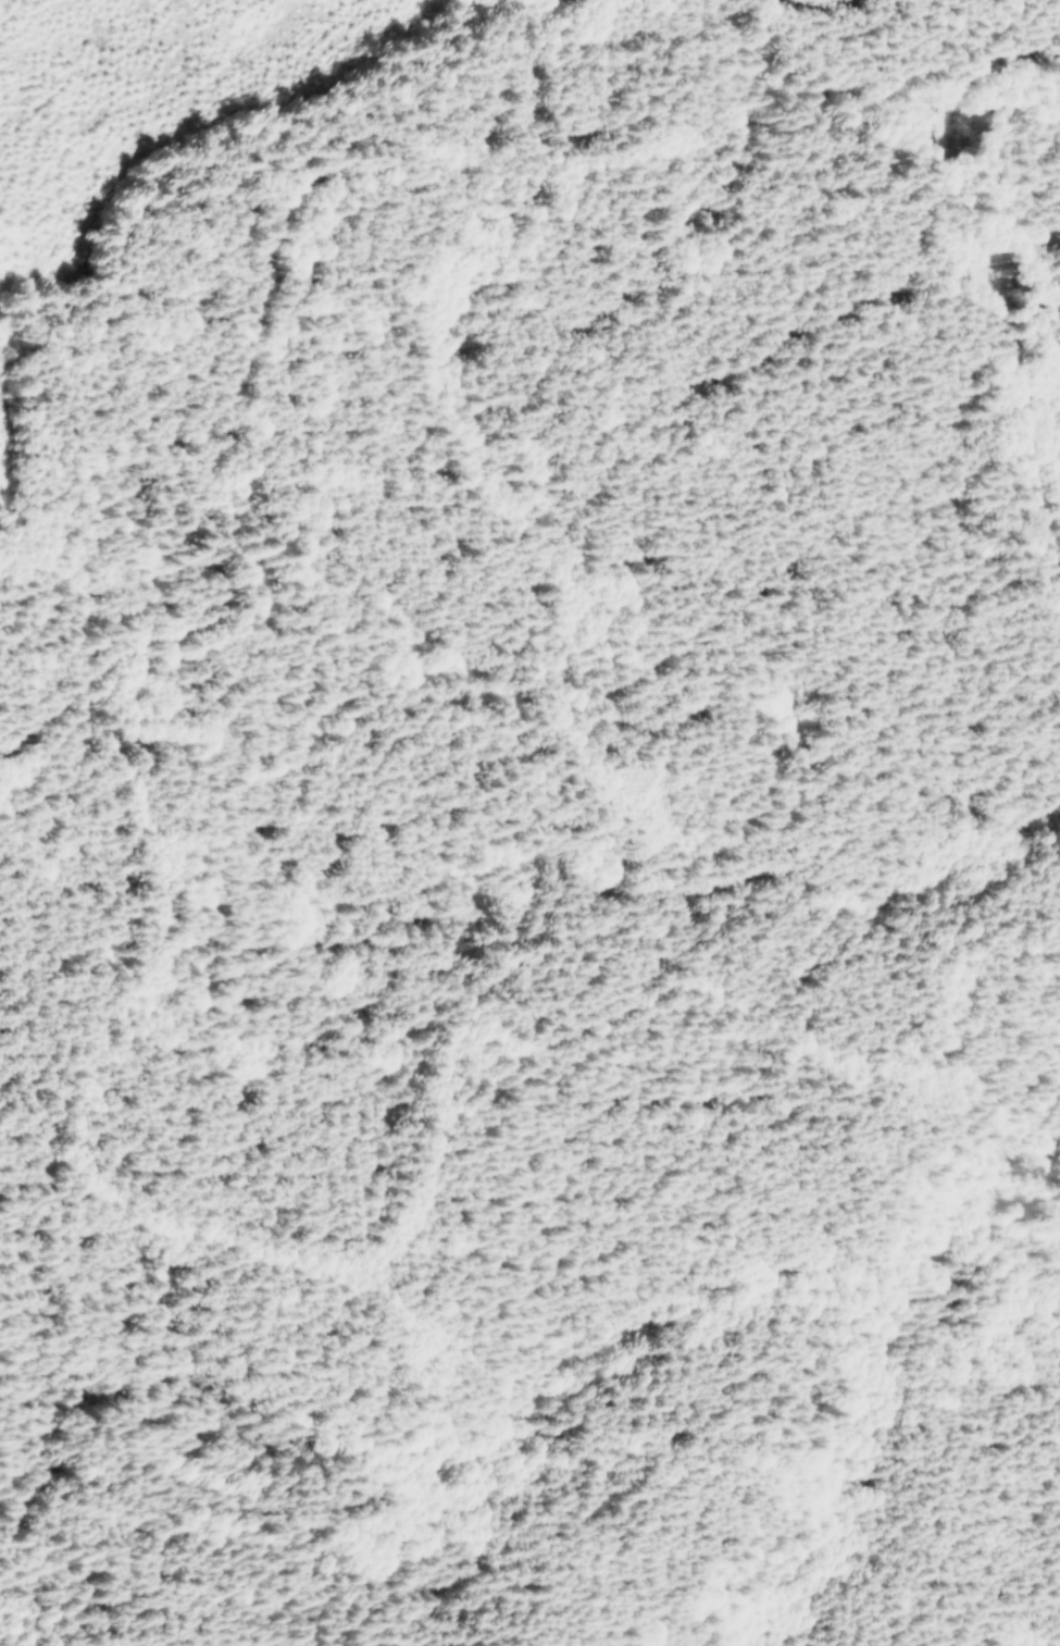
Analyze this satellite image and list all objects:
road: (846, 495)

